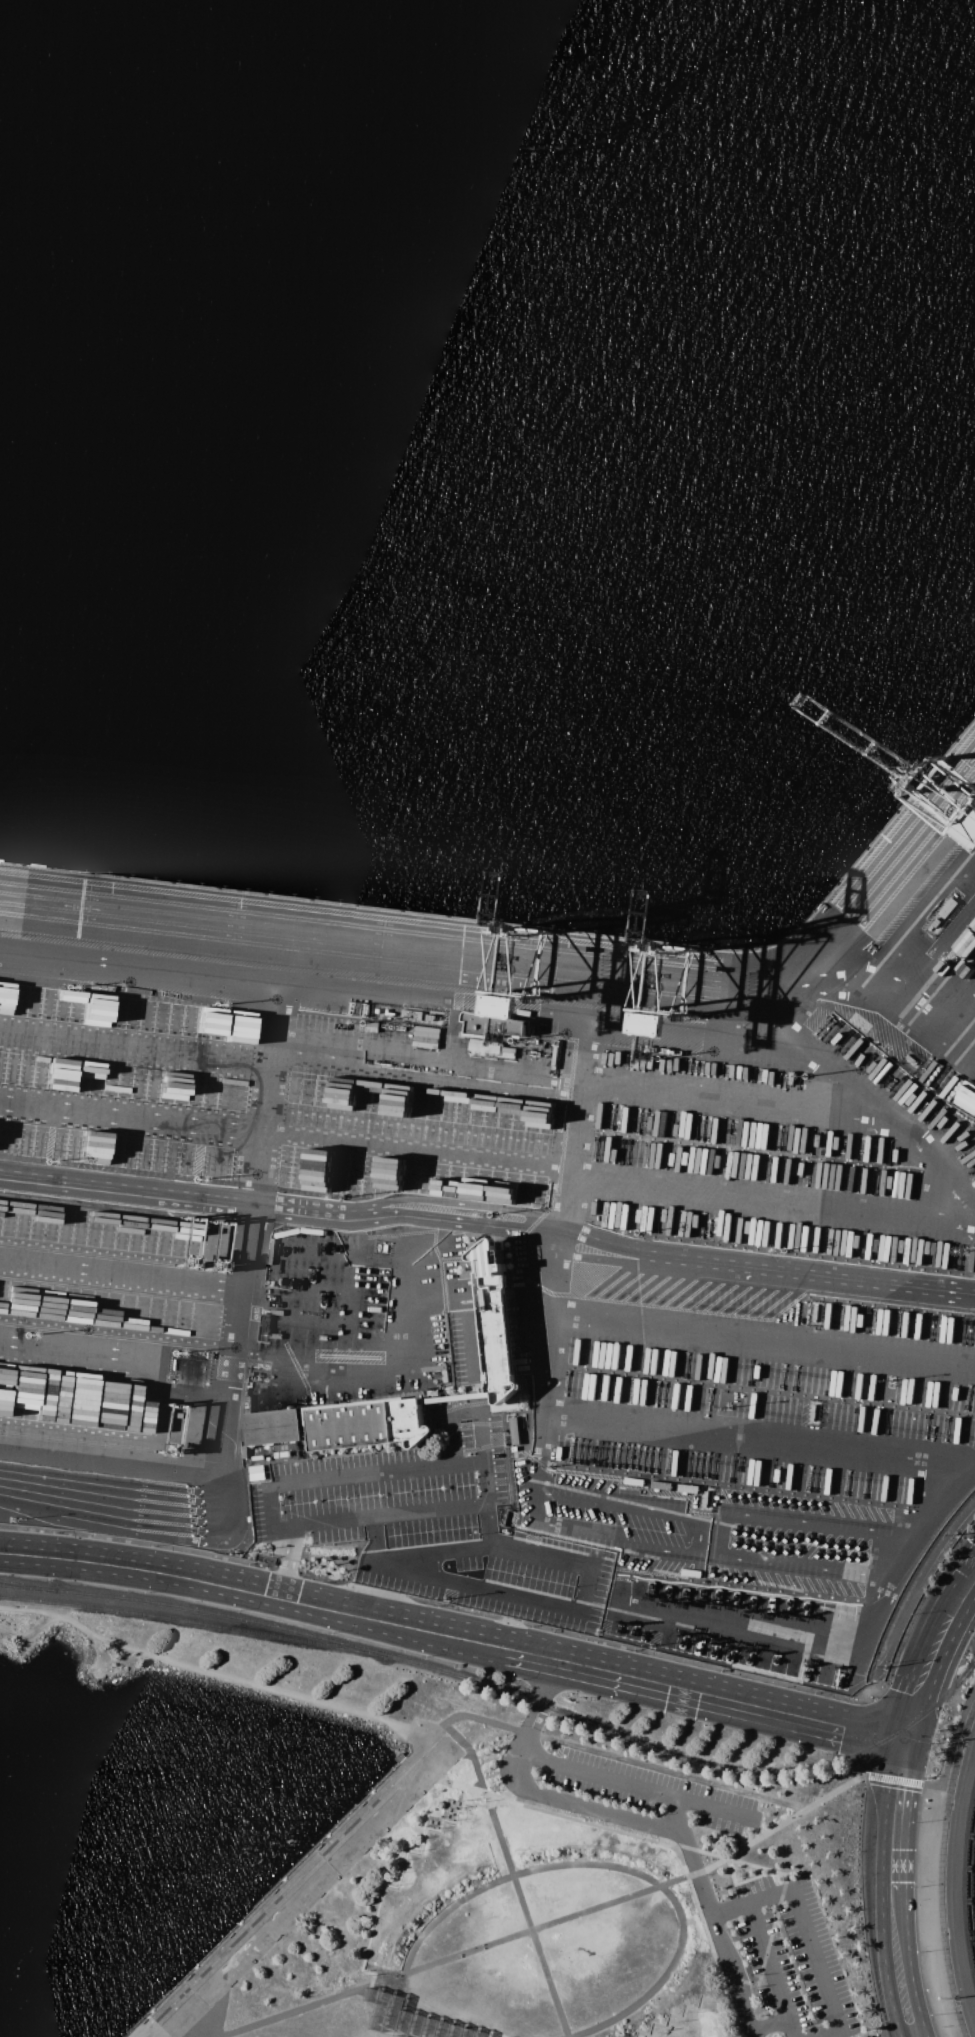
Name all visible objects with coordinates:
road: (879, 922)
road: (918, 990)
road: (960, 1000)
road: (519, 1005)
building: (493, 1026)
road: (488, 1219)
road: (127, 1271)
building: (495, 1321)
road: (759, 1338)
road: (540, 1369)
road: (242, 1385)
building: (367, 1425)
building: (273, 1427)
road: (754, 1439)
road: (116, 1453)
road: (461, 1467)
road: (932, 1506)
road: (714, 1534)
road: (286, 1564)
road: (281, 1597)
road: (546, 1603)
railway: (193, 1624)
road: (949, 1624)
road: (28, 1633)
road: (831, 1651)
railway: (505, 1690)
road: (731, 1704)
road: (916, 1706)
road: (536, 1717)
road: (382, 1718)
traffic signals: (906, 1744)
road: (952, 1746)
road: (620, 1758)
road: (892, 1779)
road: (635, 1787)
road: (900, 1787)
road: (491, 1804)
road: (592, 1808)
road: (677, 1816)
street lamp: (919, 1822)
road: (638, 1836)
park: (521, 1863)
road: (615, 1868)
road: (705, 1870)
road: (398, 1880)
railway: (969, 1883)
road: (299, 1884)
parking lot: (710, 1886)
street lamp: (917, 1886)
road: (780, 1893)
road: (809, 1931)
road: (716, 1934)
road: (898, 1935)
street lamp: (923, 1951)
road: (768, 1961)
road: (376, 1984)
road: (681, 2014)
street lamp: (937, 2014)
road: (441, 2019)
road: (778, 2021)
road: (428, 2026)

